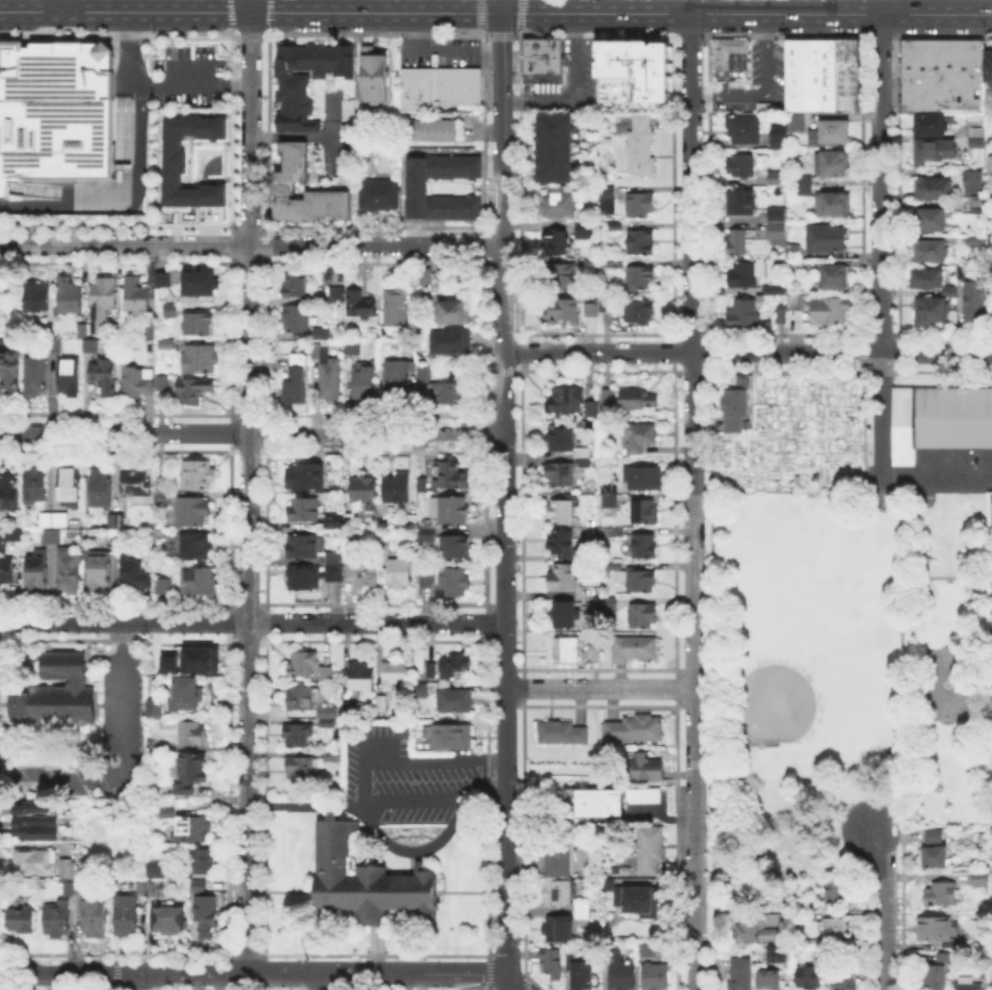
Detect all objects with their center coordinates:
road: (62, 6)
road: (250, 6)
road: (501, 6)
road: (522, 6)
road: (689, 6)
road: (888, 7)
road: (31, 10)
road: (77, 12)
road: (156, 12)
traffic signals: (225, 12)
road: (229, 12)
traffic signals: (270, 12)
road: (376, 12)
road: (42, 13)
road: (267, 13)
traffic signals: (501, 13)
road: (746, 13)
road: (482, 14)
road: (41, 30)
road: (77, 30)
road: (230, 31)
road: (267, 31)
road: (483, 32)
road: (120, 35)
road: (252, 36)
road: (377, 36)
road: (496, 36)
road: (438, 51)
building: (725, 53)
building: (907, 56)
building: (920, 56)
building: (934, 56)
building: (948, 56)
building: (962, 56)
building: (975, 56)
building: (316, 57)
building: (541, 58)
building: (987, 63)
road: (356, 66)
building: (637, 70)
building: (373, 73)
building: (818, 73)
building: (792, 74)
building: (846, 74)
parking lot: (188, 76)
parking lot: (755, 79)
road: (190, 82)
building: (456, 85)
road: (124, 87)
building: (415, 88)
road: (765, 88)
road: (575, 92)
building: (941, 92)
building: (292, 100)
building: (347, 107)
building: (54, 109)
building: (792, 119)
building: (929, 122)
building: (741, 126)
building: (975, 130)
road: (333, 131)
building: (435, 131)
building: (828, 131)
building: (776, 135)
road: (292, 136)
building: (973, 141)
building: (642, 148)
building: (933, 148)
building: (557, 149)
building: (175, 162)
building: (834, 165)
building: (991, 166)
building: (742, 167)
building: (292, 178)
building: (778, 180)
building: (974, 180)
road: (880, 182)
building: (805, 187)
building: (420, 188)
building: (932, 191)
road: (119, 194)
building: (381, 195)
building: (609, 200)
building: (558, 203)
building: (741, 203)
building: (982, 204)
building: (834, 205)
building: (641, 206)
building: (931, 222)
building: (779, 226)
building: (614, 227)
building: (587, 232)
building: (823, 237)
building: (558, 243)
building: (641, 243)
building: (739, 243)
road: (251, 244)
building: (930, 252)
building: (594, 264)
building: (747, 275)
building: (426, 277)
building: (562, 278)
building: (640, 278)
building: (836, 278)
building: (928, 280)
building: (164, 281)
building: (202, 285)
building: (297, 285)
building: (776, 290)
building: (338, 296)
building: (37, 297)
building: (70, 297)
building: (135, 298)
building: (973, 298)
building: (101, 301)
building: (797, 303)
building: (609, 304)
building: (359, 305)
building: (399, 306)
building: (168, 308)
building: (937, 310)
building: (455, 311)
building: (592, 311)
building: (564, 312)
building: (640, 312)
building: (831, 312)
building: (172, 313)
building: (743, 314)
building: (781, 317)
building: (296, 320)
building: (197, 326)
building: (82, 330)
building: (323, 335)
building: (53, 339)
building: (412, 343)
building: (453, 343)
building: (91, 347)
building: (354, 348)
road: (746, 352)
building: (201, 360)
building: (10, 368)
building: (425, 371)
building: (104, 376)
building: (330, 376)
building: (70, 377)
building: (36, 378)
building: (297, 381)
building: (365, 381)
building: (138, 382)
building: (163, 383)
building: (398, 383)
building: (194, 392)
building: (449, 394)
building: (608, 397)
building: (636, 398)
building: (568, 400)
building: (729, 407)
building: (593, 409)
road: (879, 418)
building: (938, 419)
road: (251, 433)
building: (640, 438)
building: (562, 440)
building: (568, 470)
building: (813, 474)
building: (199, 475)
building: (796, 475)
building: (307, 477)
building: (452, 477)
building: (646, 480)
building: (134, 485)
building: (423, 486)
building: (37, 488)
building: (72, 488)
building: (399, 488)
road: (246, 492)
building: (366, 492)
building: (101, 494)
building: (609, 495)
building: (10, 496)
road: (503, 501)
road: (692, 501)
building: (304, 509)
building: (561, 512)
building: (646, 512)
building: (194, 513)
building: (117, 522)
building: (337, 523)
building: (413, 523)
building: (54, 528)
building: (431, 531)
building: (615, 533)
building: (17, 534)
building: (561, 543)
building: (197, 547)
building: (645, 547)
building: (305, 548)
building: (614, 564)
building: (335, 566)
building: (354, 568)
building: (7, 570)
building: (100, 571)
building: (38, 572)
building: (69, 572)
building: (370, 573)
building: (401, 573)
building: (135, 575)
building: (305, 577)
building: (564, 577)
building: (427, 579)
building: (638, 580)
building: (200, 581)
building: (453, 584)
building: (166, 587)
building: (609, 604)
building: (566, 616)
building: (643, 617)
road: (251, 621)
building: (990, 635)
road: (374, 639)
building: (636, 650)
building: (568, 652)
road: (897, 652)
building: (596, 654)
building: (199, 658)
building: (167, 661)
building: (302, 666)
building: (455, 667)
park: (844, 670)
building: (432, 671)
building: (395, 674)
building: (328, 675)
building: (362, 678)
park: (950, 683)
park: (789, 686)
road: (598, 687)
building: (421, 692)
building: (190, 693)
building: (60, 695)
building: (303, 699)
building: (383, 703)
building: (456, 703)
building: (155, 711)
building: (351, 711)
building: (329, 719)
building: (634, 729)
building: (194, 734)
building: (562, 734)
building: (299, 736)
building: (452, 738)
parking lot: (100, 741)
road: (122, 759)
road: (411, 761)
building: (307, 763)
building: (643, 767)
building: (192, 773)
parking lot: (399, 775)
building: (646, 796)
road: (482, 801)
road: (411, 803)
building: (602, 804)
road: (304, 805)
building: (169, 814)
building: (38, 822)
building: (194, 830)
building: (931, 835)
road: (413, 849)
building: (651, 850)
building: (935, 854)
building: (560, 861)
building: (203, 862)
building: (37, 863)
building: (155, 870)
building: (69, 871)
building: (367, 878)
building: (980, 880)
building: (196, 884)
building: (77, 888)
building: (142, 888)
building: (156, 890)
building: (559, 893)
building: (942, 895)
building: (838, 896)
building: (636, 900)
road: (882, 908)
building: (584, 910)
building: (206, 912)
building: (127, 916)
building: (96, 918)
building: (22, 920)
building: (59, 920)
building: (171, 921)
building: (838, 927)
building: (559, 929)
building: (758, 931)
building: (936, 932)
road: (254, 943)
building: (776, 952)
road: (373, 953)
building: (615, 953)
building: (649, 953)
building: (945, 958)
building: (553, 964)
road: (68, 972)
road: (192, 973)
road: (285, 973)
road: (413, 973)
building: (741, 975)
building: (583, 976)
building: (624, 977)
building: (656, 977)
building: (810, 977)
building: (845, 977)
building: (935, 978)
building: (771, 980)
road: (138, 981)
road: (323, 981)
building: (969, 984)

